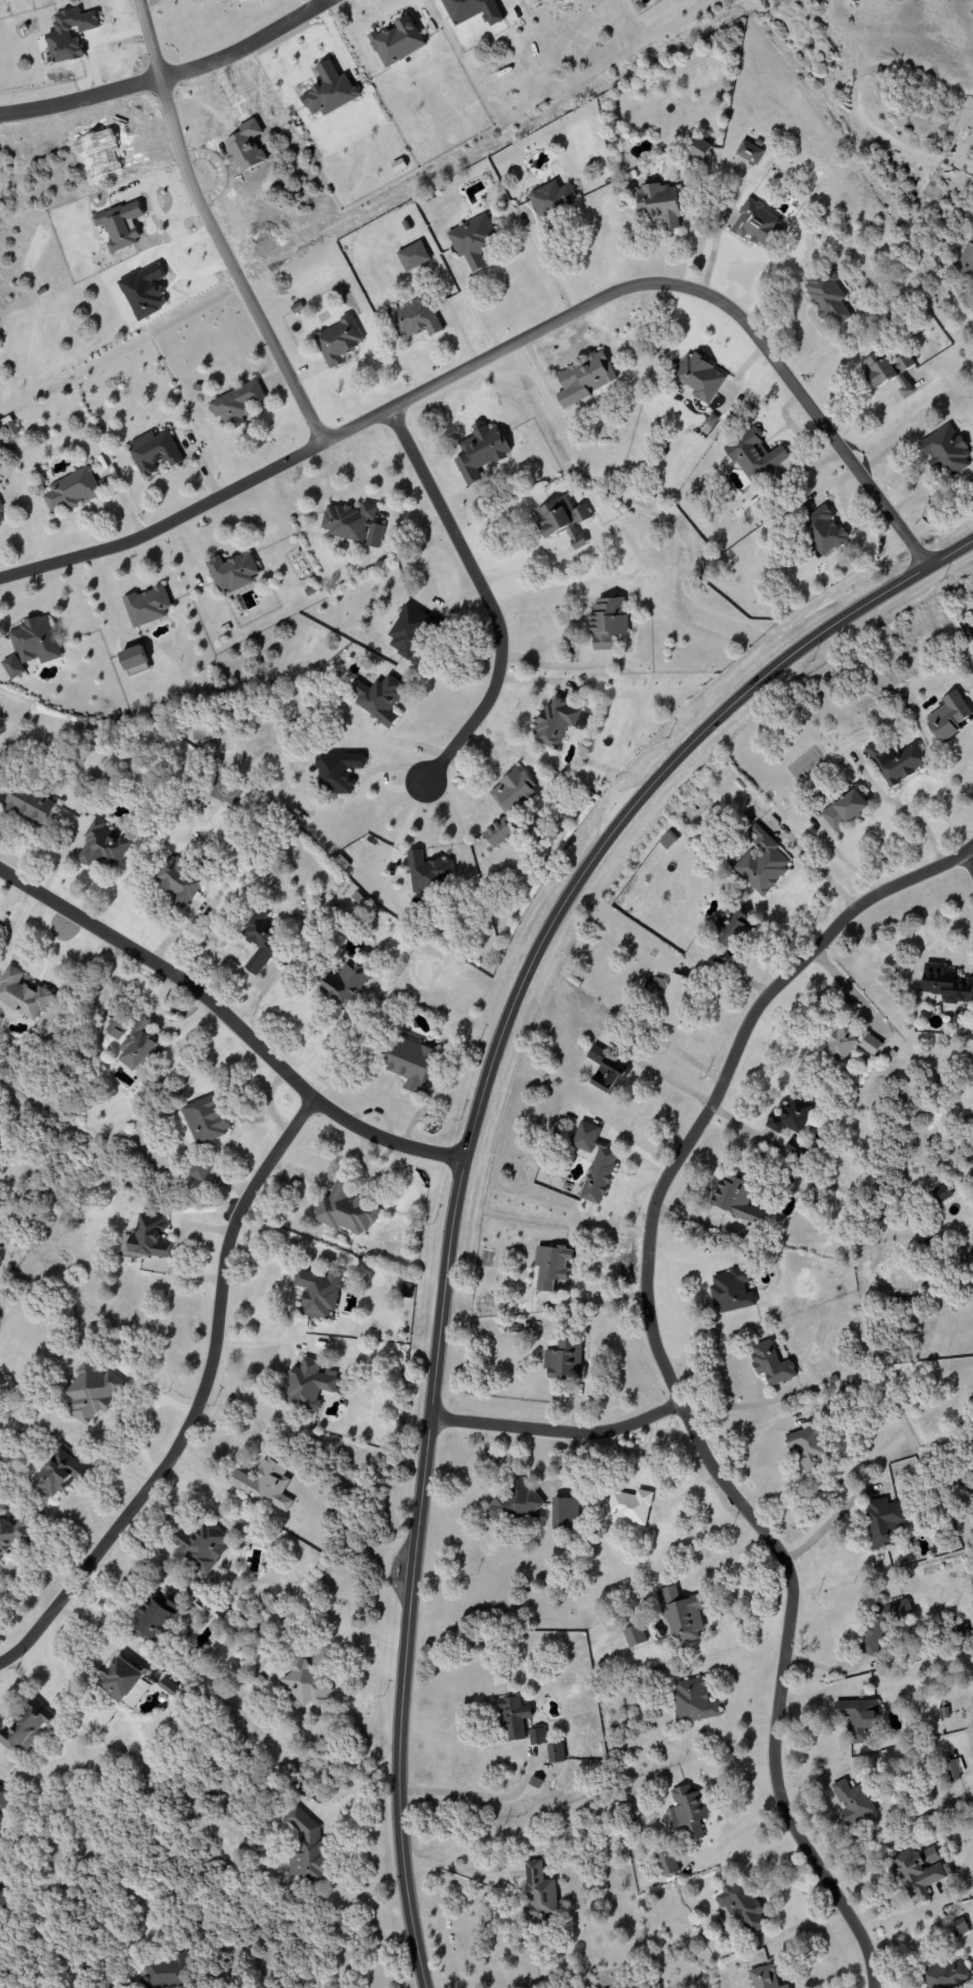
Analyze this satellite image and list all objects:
building: (475, 9)
building: (69, 34)
building: (400, 40)
road: (169, 72)
building: (329, 91)
building: (700, 148)
building: (749, 152)
building: (552, 199)
building: (659, 204)
building: (755, 223)
building: (120, 225)
road: (211, 228)
building: (473, 242)
building: (413, 256)
building: (966, 261)
road: (548, 265)
building: (828, 296)
building: (414, 318)
building: (338, 340)
road: (511, 344)
building: (889, 371)
building: (696, 376)
building: (584, 378)
building: (236, 404)
building: (8, 427)
building: (945, 450)
building: (153, 451)
building: (480, 452)
building: (754, 454)
building: (71, 490)
building: (0, 505)
building: (562, 520)
building: (1, 521)
building: (353, 524)
building: (823, 530)
building: (234, 570)
road: (486, 596)
building: (149, 604)
building: (607, 621)
building: (407, 629)
building: (36, 641)
building: (135, 661)
building: (13, 667)
building: (376, 696)
building: (947, 716)
building: (559, 721)
building: (895, 761)
building: (337, 771)
building: (508, 803)
building: (29, 805)
building: (844, 809)
road: (916, 823)
building: (667, 840)
building: (102, 846)
building: (762, 862)
road: (846, 862)
road: (968, 862)
road: (817, 864)
building: (427, 872)
building: (179, 882)
building: (262, 937)
building: (345, 984)
building: (946, 984)
road: (846, 988)
building: (22, 994)
building: (671, 997)
road: (231, 1020)
road: (317, 1041)
building: (848, 1044)
building: (139, 1045)
building: (411, 1062)
building: (607, 1071)
road: (663, 1075)
building: (792, 1115)
building: (205, 1120)
building: (796, 1148)
road: (462, 1162)
building: (594, 1162)
building: (199, 1171)
building: (972, 1176)
building: (941, 1193)
building: (735, 1198)
building: (345, 1211)
building: (147, 1238)
road: (692, 1256)
building: (551, 1266)
building: (731, 1290)
building: (319, 1292)
road: (593, 1299)
road: (264, 1341)
building: (566, 1361)
building: (771, 1363)
road: (667, 1377)
building: (310, 1384)
building: (92, 1391)
road: (198, 1400)
road: (738, 1405)
road: (649, 1417)
road: (524, 1426)
road: (756, 1441)
building: (807, 1449)
building: (62, 1470)
building: (265, 1483)
building: (511, 1504)
building: (630, 1507)
building: (564, 1514)
road: (833, 1516)
building: (883, 1521)
building: (14, 1534)
building: (204, 1543)
road: (724, 1558)
building: (157, 1615)
building: (681, 1615)
building: (634, 1636)
building: (123, 1677)
building: (305, 1683)
building: (169, 1687)
building: (693, 1701)
building: (514, 1718)
building: (858, 1718)
building: (27, 1726)
building: (537, 1736)
building: (555, 1753)
building: (954, 1768)
road: (480, 1794)
building: (2, 1799)
building: (853, 1802)
building: (686, 1812)
building: (307, 1849)
building: (930, 1855)
building: (667, 1864)
building: (918, 1874)
building: (539, 1894)
building: (2, 1899)
building: (958, 1927)
building: (162, 1972)
building: (945, 1974)
building: (764, 1977)
road: (857, 1984)

